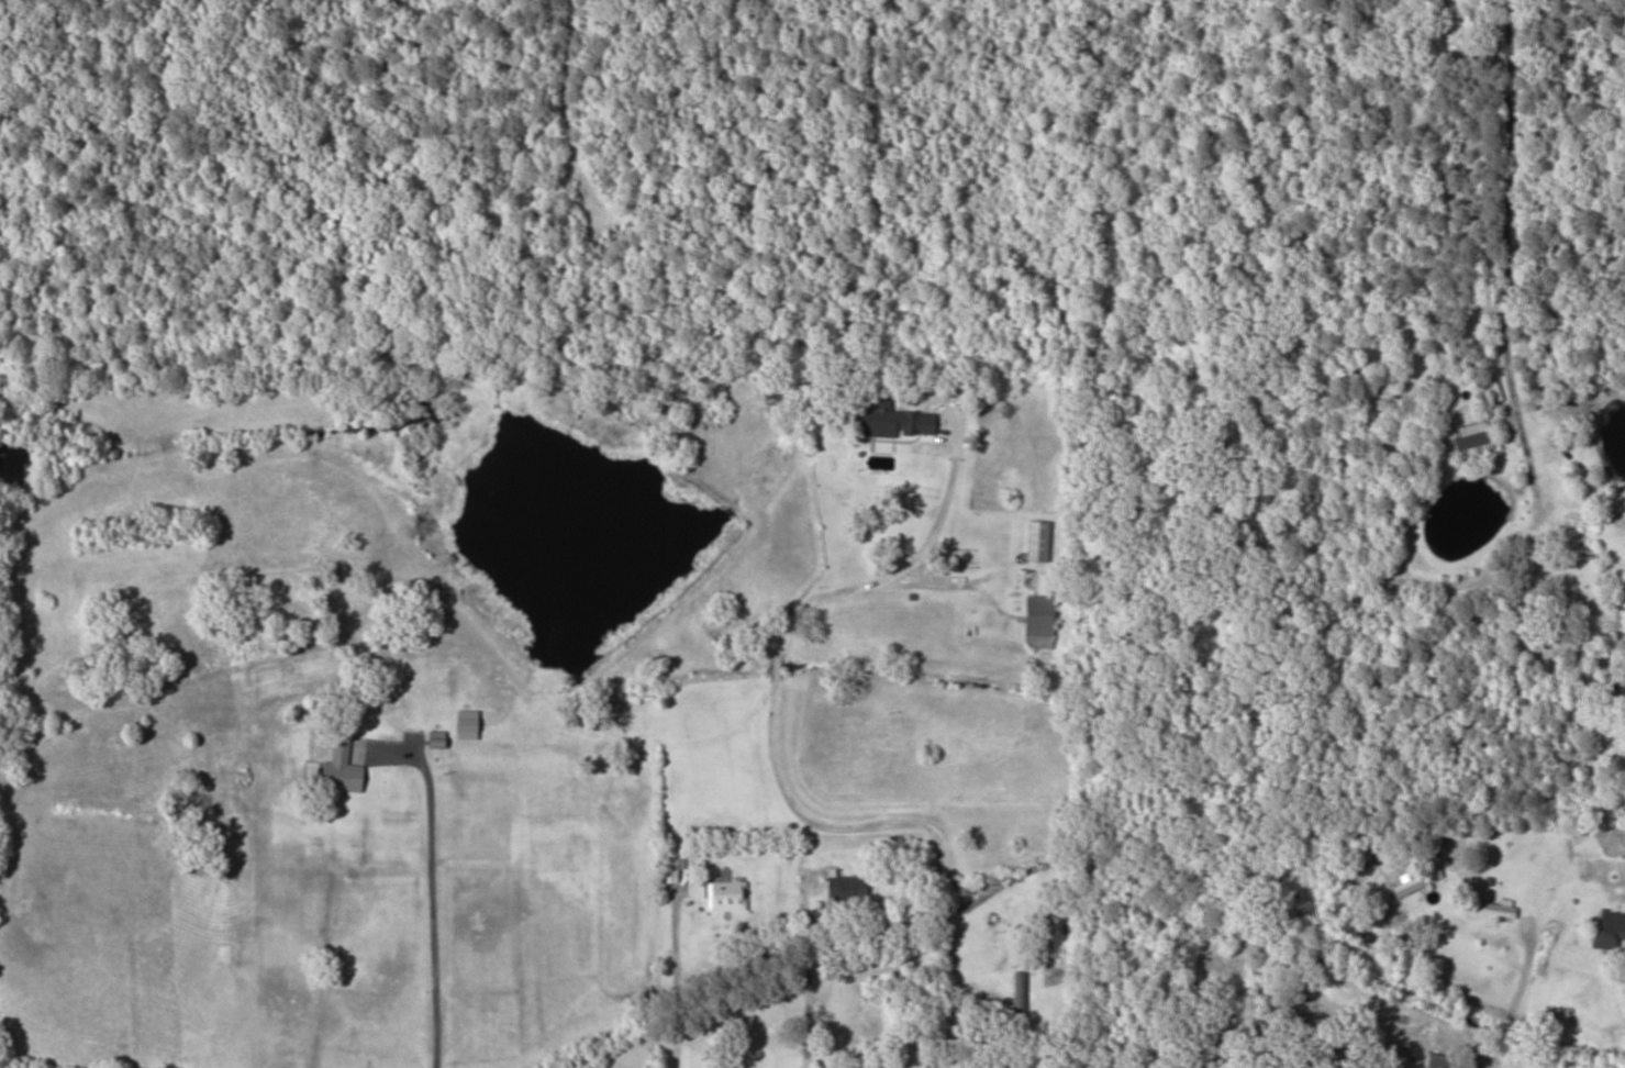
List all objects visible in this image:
building: (894, 420)
building: (1470, 441)
building: (1036, 541)
building: (1036, 622)
building: (64, 682)
building: (236, 756)
building: (338, 768)
building: (1413, 881)
building: (845, 887)
building: (725, 895)
building: (1492, 909)
building: (1607, 930)
building: (1015, 1001)
building: (1444, 1061)

